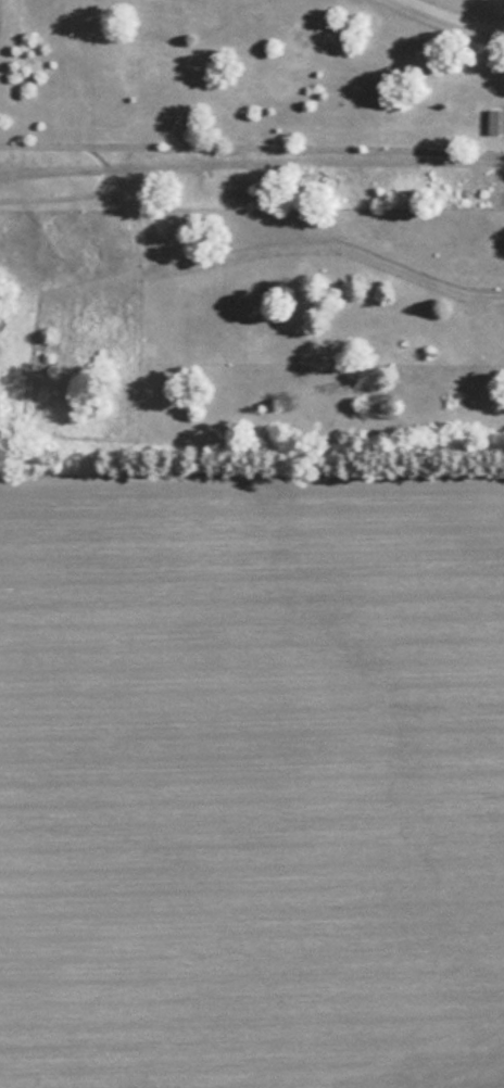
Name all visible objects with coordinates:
road: (454, 17)
building: (493, 119)

